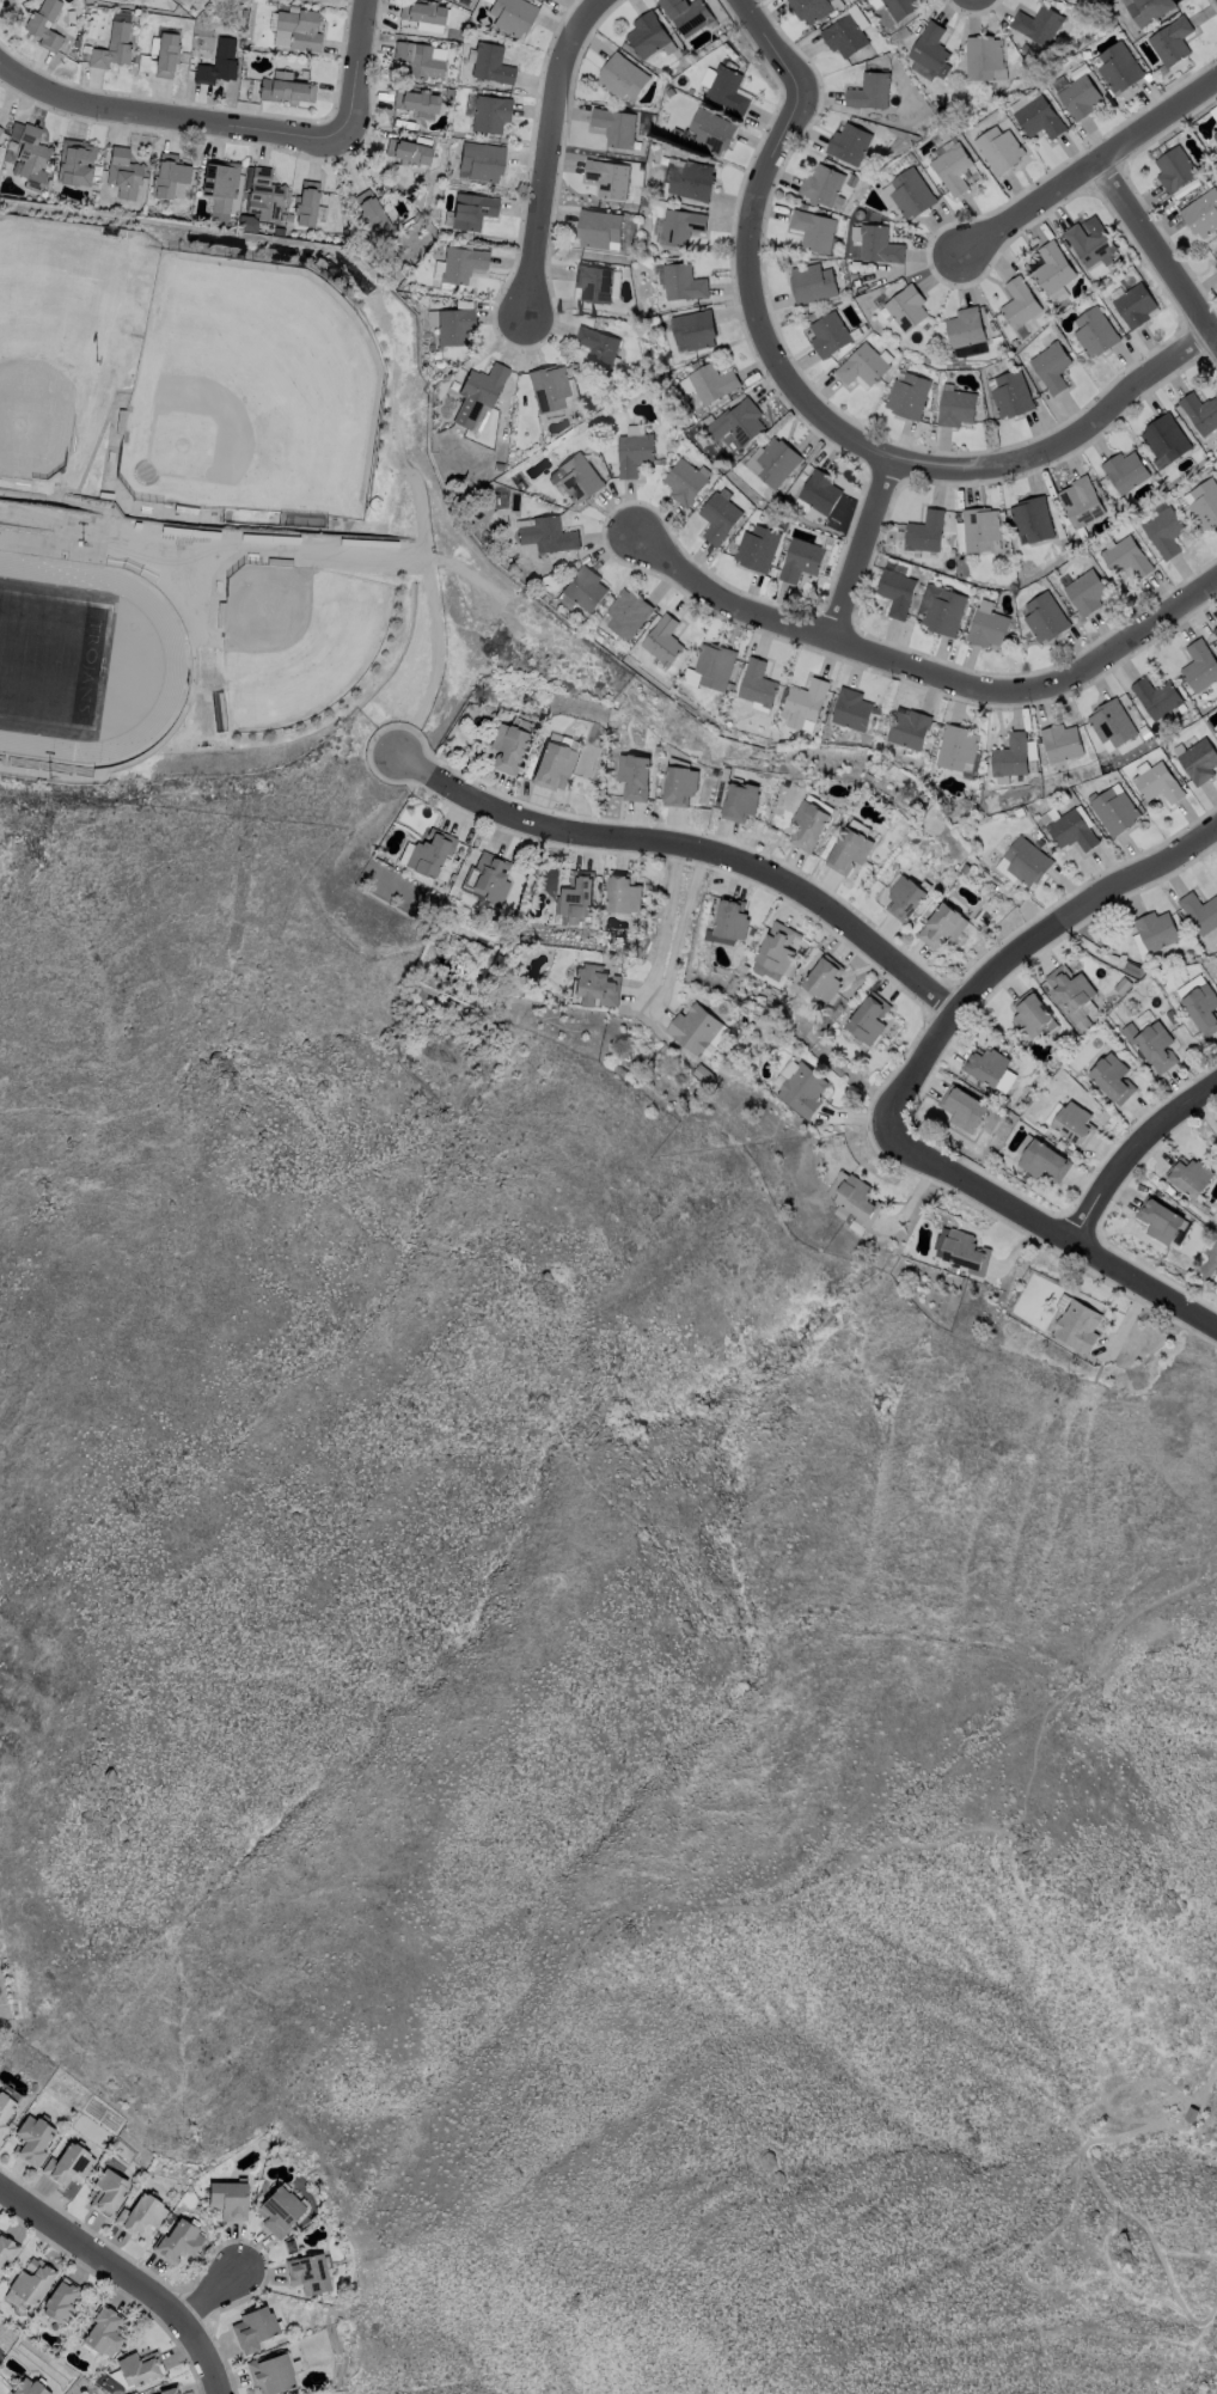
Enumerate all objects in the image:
building: (122, 0)
building: (900, 8)
building: (812, 10)
building: (1149, 11)
building: (244, 13)
building: (423, 13)
building: (689, 16)
building: (513, 17)
building: (1039, 25)
building: (35, 29)
building: (301, 30)
building: (903, 35)
building: (648, 36)
building: (845, 37)
building: (1173, 42)
road: (772, 43)
building: (77, 44)
building: (626, 47)
building: (728, 47)
building: (899, 48)
building: (112, 49)
building: (930, 50)
building: (1027, 50)
building: (74, 55)
building: (167, 56)
building: (983, 59)
building: (420, 61)
building: (146, 63)
building: (219, 65)
building: (491, 65)
building: (949, 67)
building: (1120, 69)
building: (623, 79)
building: (286, 90)
building: (728, 91)
building: (870, 92)
building: (671, 93)
building: (451, 94)
building: (1081, 98)
building: (416, 102)
building: (1213, 112)
building: (491, 115)
building: (1040, 120)
road: (238, 122)
building: (404, 123)
building: (0, 129)
building: (616, 129)
building: (1, 132)
building: (713, 133)
building: (677, 135)
building: (1216, 138)
building: (12, 145)
building: (849, 145)
road: (545, 151)
building: (1001, 151)
building: (409, 153)
building: (1156, 154)
building: (33, 159)
building: (482, 161)
building: (665, 161)
building: (77, 164)
building: (954, 170)
building: (1175, 170)
road: (1090, 171)
building: (97, 172)
building: (124, 175)
building: (170, 176)
building: (608, 179)
building: (692, 182)
building: (822, 185)
building: (221, 189)
building: (658, 195)
building: (912, 195)
building: (267, 196)
building: (244, 202)
building: (151, 203)
building: (307, 204)
building: (643, 204)
building: (473, 212)
building: (373, 214)
building: (1203, 215)
building: (285, 219)
building: (291, 219)
building: (249, 225)
building: (680, 227)
building: (599, 230)
building: (813, 232)
building: (631, 237)
building: (1089, 245)
building: (879, 246)
building: (1066, 246)
road: (1156, 261)
building: (1216, 263)
building: (463, 265)
building: (1053, 269)
building: (594, 285)
building: (683, 285)
building: (812, 285)
building: (1020, 305)
building: (1136, 306)
building: (906, 309)
building: (455, 328)
building: (965, 329)
building: (993, 330)
building: (693, 331)
building: (1095, 334)
building: (830, 336)
park: (61, 340)
building: (1014, 343)
building: (432, 348)
building: (598, 349)
building: (929, 354)
building: (949, 358)
building: (693, 366)
building: (863, 367)
building: (1052, 368)
building: (713, 385)
building: (550, 389)
building: (479, 395)
building: (1011, 396)
building: (909, 397)
building: (593, 403)
building: (956, 409)
building: (1200, 414)
building: (705, 421)
building: (738, 423)
park: (198, 428)
building: (537, 433)
building: (1166, 439)
road: (854, 440)
building: (503, 446)
building: (595, 452)
building: (634, 454)
building: (777, 463)
building: (500, 468)
building: (1126, 472)
building: (579, 480)
building: (685, 484)
building: (820, 493)
building: (495, 497)
building: (1081, 503)
building: (1125, 505)
building: (1205, 505)
building: (720, 519)
building: (1033, 520)
building: (784, 527)
building: (980, 531)
building: (925, 533)
building: (1166, 533)
building: (548, 536)
building: (1057, 549)
building: (759, 550)
building: (781, 557)
road: (857, 558)
building: (1127, 560)
building: (802, 562)
building: (964, 568)
building: (510, 573)
building: (585, 591)
building: (897, 593)
building: (1087, 593)
building: (941, 610)
building: (625, 613)
building: (1045, 617)
building: (986, 628)
building: (1215, 631)
park: (306, 640)
building: (661, 640)
park: (51, 656)
track: (173, 658)
track: (74, 659)
track: (81, 660)
building: (713, 665)
building: (1199, 666)
building: (689, 677)
road: (925, 680)
building: (756, 683)
building: (1156, 697)
building: (802, 703)
building: (851, 709)
building: (1111, 725)
building: (1216, 726)
building: (907, 728)
building: (1059, 741)
building: (507, 746)
building: (955, 746)
building: (1009, 756)
building: (1199, 761)
building: (551, 764)
building: (632, 776)
building: (1157, 783)
building: (679, 786)
building: (740, 801)
building: (1114, 811)
building: (808, 825)
building: (1072, 831)
road: (686, 842)
building: (849, 850)
building: (429, 853)
building: (1027, 861)
building: (1216, 877)
building: (490, 878)
building: (622, 893)
building: (576, 894)
building: (905, 898)
building: (1199, 911)
building: (729, 918)
road: (663, 922)
building: (942, 926)
building: (1155, 930)
building: (776, 948)
road: (1020, 951)
building: (822, 979)
building: (594, 984)
building: (1070, 991)
building: (1203, 1008)
building: (1029, 1014)
building: (867, 1019)
building: (693, 1028)
building: (715, 1040)
building: (1151, 1044)
building: (985, 1065)
building: (779, 1076)
building: (1111, 1077)
building: (800, 1089)
building: (961, 1107)
building: (1074, 1123)
road: (1130, 1146)
building: (1042, 1161)
building: (1188, 1177)
building: (856, 1201)
building: (1158, 1220)
road: (1057, 1226)
building: (965, 1252)
building: (1033, 1285)
building: (1076, 1326)
building: (6, 2111)
building: (35, 2138)
building: (71, 2163)
building: (110, 2191)
building: (232, 2197)
building: (282, 2209)
building: (143, 2213)
building: (179, 2241)
building: (6, 2251)
building: (312, 2271)
road: (128, 2276)
building: (31, 2283)
road: (213, 2297)
building: (66, 2301)
building: (257, 2328)
building: (106, 2331)
building: (141, 2366)
building: (275, 2371)
building: (31, 2387)
building: (171, 2389)

